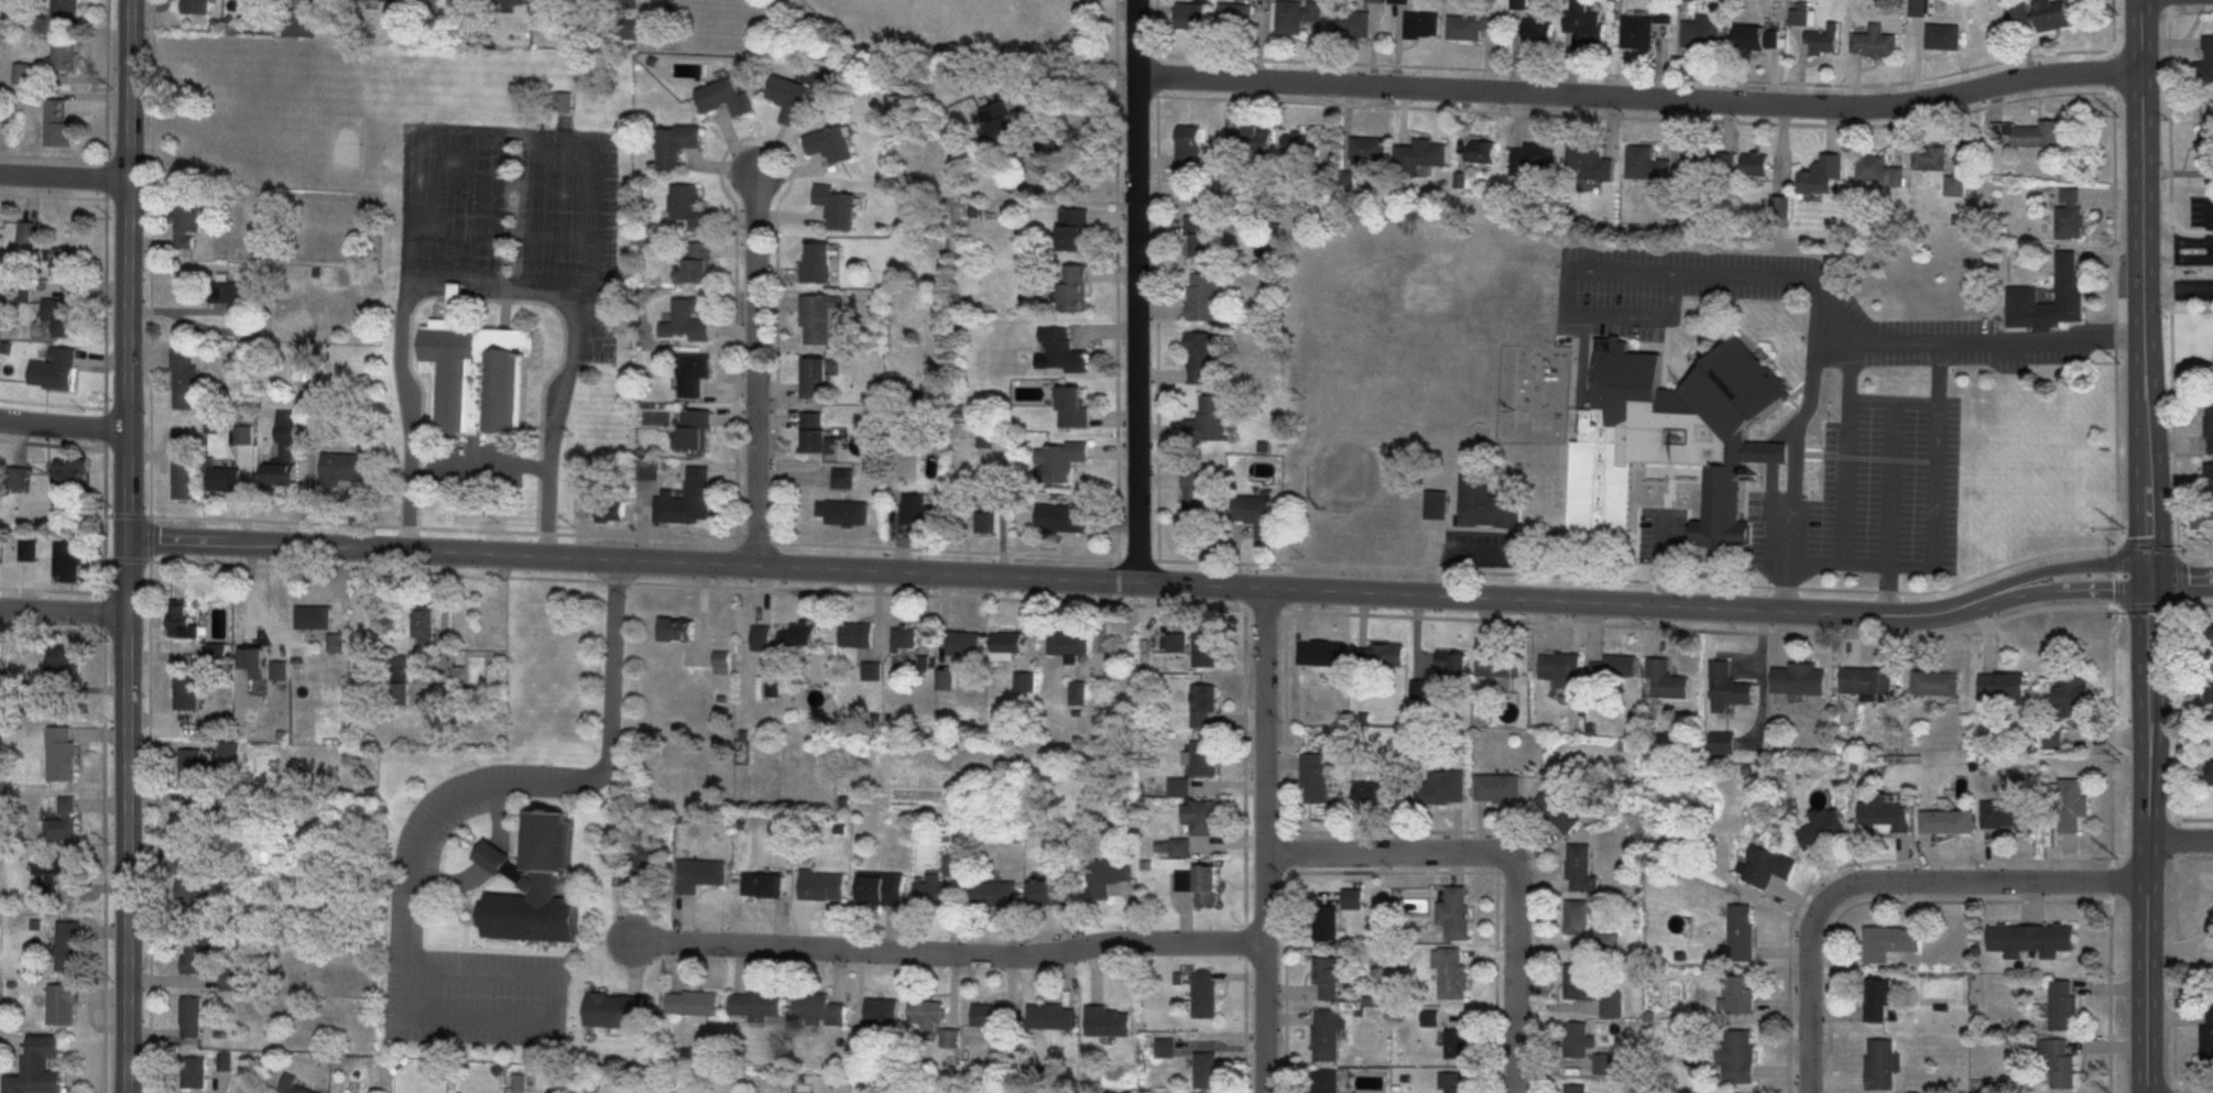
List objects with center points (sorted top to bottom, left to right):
building: (402, 0)
building: (500, 1)
building: (1398, 1)
building: (565, 2)
building: (196, 7)
building: (66, 9)
building: (1664, 13)
building: (2042, 14)
building: (1191, 15)
building: (1297, 15)
building: (1800, 15)
building: (1235, 17)
building: (623, 19)
building: (1583, 22)
park: (948, 23)
building: (1352, 24)
building: (1421, 25)
building: (1469, 25)
building: (1538, 32)
building: (1701, 32)
building: (1638, 33)
building: (1943, 35)
building: (1758, 37)
building: (1824, 40)
building: (1874, 42)
building: (64, 55)
building: (2205, 62)
road: (1082, 86)
road: (1642, 96)
building: (726, 97)
building: (791, 98)
building: (59, 122)
building: (999, 125)
building: (2029, 133)
road: (511, 134)
building: (1249, 140)
building: (677, 143)
building: (831, 144)
building: (2205, 145)
building: (1300, 146)
building: (1188, 149)
building: (1369, 150)
building: (1481, 151)
building: (1421, 154)
building: (1531, 155)
building: (1931, 157)
building: (1591, 161)
building: (1646, 164)
building: (1710, 164)
building: (1756, 164)
building: (1878, 171)
road: (66, 176)
building: (1955, 184)
building: (689, 206)
building: (837, 206)
building: (1838, 208)
building: (2071, 212)
building: (188, 225)
building: (1073, 229)
building: (29, 231)
building: (1202, 237)
road: (2178, 240)
road: (2212, 250)
building: (65, 259)
road: (2178, 259)
building: (818, 262)
building: (698, 264)
road: (535, 284)
road: (2178, 284)
road: (2144, 286)
building: (1075, 288)
road: (1140, 291)
building: (232, 292)
building: (2025, 293)
building: (1202, 296)
road: (227, 309)
building: (62, 315)
building: (818, 317)
building: (686, 321)
road: (1856, 329)
building: (1059, 351)
building: (1200, 357)
road: (757, 368)
building: (55, 369)
building: (693, 373)
building: (479, 374)
building: (817, 376)
building: (185, 378)
road: (1895, 396)
building: (1072, 406)
building: (1209, 418)
road: (63, 425)
building: (2210, 428)
building: (696, 430)
building: (816, 431)
building: (1603, 444)
road: (1847, 446)
building: (284, 452)
building: (1059, 459)
road: (1796, 460)
road: (479, 462)
building: (350, 466)
building: (70, 470)
building: (185, 474)
building: (18, 478)
building: (843, 478)
building: (225, 479)
road: (1895, 480)
building: (2209, 482)
road: (1936, 495)
building: (1197, 498)
building: (688, 499)
building: (611, 502)
building: (1436, 504)
building: (1485, 504)
road: (407, 510)
building: (844, 512)
building: (920, 512)
building: (1255, 513)
road: (128, 514)
building: (1062, 517)
building: (985, 518)
road: (129, 546)
building: (30, 550)
road: (128, 558)
building: (68, 559)
road: (1869, 561)
traffic signals: (2146, 575)
road: (2179, 575)
road: (1140, 582)
road: (1603, 582)
road: (64, 610)
building: (314, 615)
building: (183, 619)
building: (424, 623)
building: (677, 627)
building: (805, 632)
building: (857, 633)
building: (2210, 634)
building: (906, 635)
building: (762, 636)
building: (1175, 641)
building: (964, 642)
building: (1070, 642)
building: (1007, 643)
building: (1204, 647)
building: (218, 649)
building: (1322, 652)
building: (1381, 654)
building: (253, 658)
building: (65, 659)
building: (721, 662)
building: (1452, 662)
building: (1500, 663)
building: (1560, 666)
building: (1615, 666)
building: (279, 669)
building: (400, 677)
building: (945, 677)
building: (1800, 677)
building: (1667, 678)
building: (1868, 678)
building: (1025, 680)
building: (1937, 681)
building: (2003, 684)
building: (1730, 686)
building: (1420, 687)
building: (2209, 688)
building: (188, 691)
building: (1077, 691)
building: (2073, 696)
building: (1203, 704)
building: (1722, 742)
building: (62, 752)
building: (1203, 757)
building: (193, 766)
building: (2211, 774)
building: (1313, 777)
building: (1178, 786)
building: (1441, 786)
building: (1496, 787)
building: (1381, 791)
building: (236, 801)
road: (103, 802)
building: (2070, 802)
road: (149, 804)
building: (1560, 806)
building: (1887, 813)
building: (2009, 815)
building: (1200, 816)
building: (199, 817)
building: (63, 820)
building: (1949, 820)
building: (1825, 827)
road: (451, 831)
road: (2147, 833)
road: (2180, 838)
road: (1266, 840)
road: (477, 846)
building: (1178, 846)
building: (493, 855)
road: (1505, 857)
road: (486, 862)
building: (634, 862)
building: (59, 864)
building: (1767, 865)
building: (187, 866)
building: (1580, 867)
road: (494, 871)
building: (699, 873)
building: (1105, 875)
road: (413, 879)
building: (1199, 883)
road: (1889, 883)
building: (535, 885)
building: (763, 885)
building: (821, 885)
building: (881, 888)
building: (930, 889)
building: (1049, 892)
building: (194, 893)
building: (993, 893)
road: (467, 898)
building: (1351, 898)
building: (1453, 912)
building: (1579, 916)
road: (470, 919)
building: (1324, 921)
building: (1742, 931)
road: (465, 934)
building: (2034, 939)
road: (2195, 939)
building: (1892, 942)
building: (68, 946)
road: (2162, 948)
road: (522, 950)
road: (949, 952)
building: (196, 954)
road: (2195, 955)
building: (1450, 971)
building: (1326, 977)
building: (1581, 981)
building: (1203, 993)
building: (1740, 994)
building: (1880, 999)
building: (691, 1002)
building: (62, 1003)
building: (1611, 1003)
building: (2065, 1004)
building: (755, 1006)
building: (613, 1009)
building: (817, 1009)
building: (881, 1010)
building: (926, 1013)
building: (990, 1014)
building: (190, 1016)
building: (1051, 1016)
building: (1106, 1020)
building: (1327, 1032)
building: (2209, 1037)
building: (1578, 1039)
building: (1457, 1043)
building: (1164, 1047)
building: (1738, 1056)
building: (2061, 1061)
building: (1883, 1063)
building: (36, 1067)
building: (1204, 1070)
building: (194, 1072)
building: (1324, 1081)
building: (1452, 1083)
building: (293, 1084)
building: (1576, 1087)

